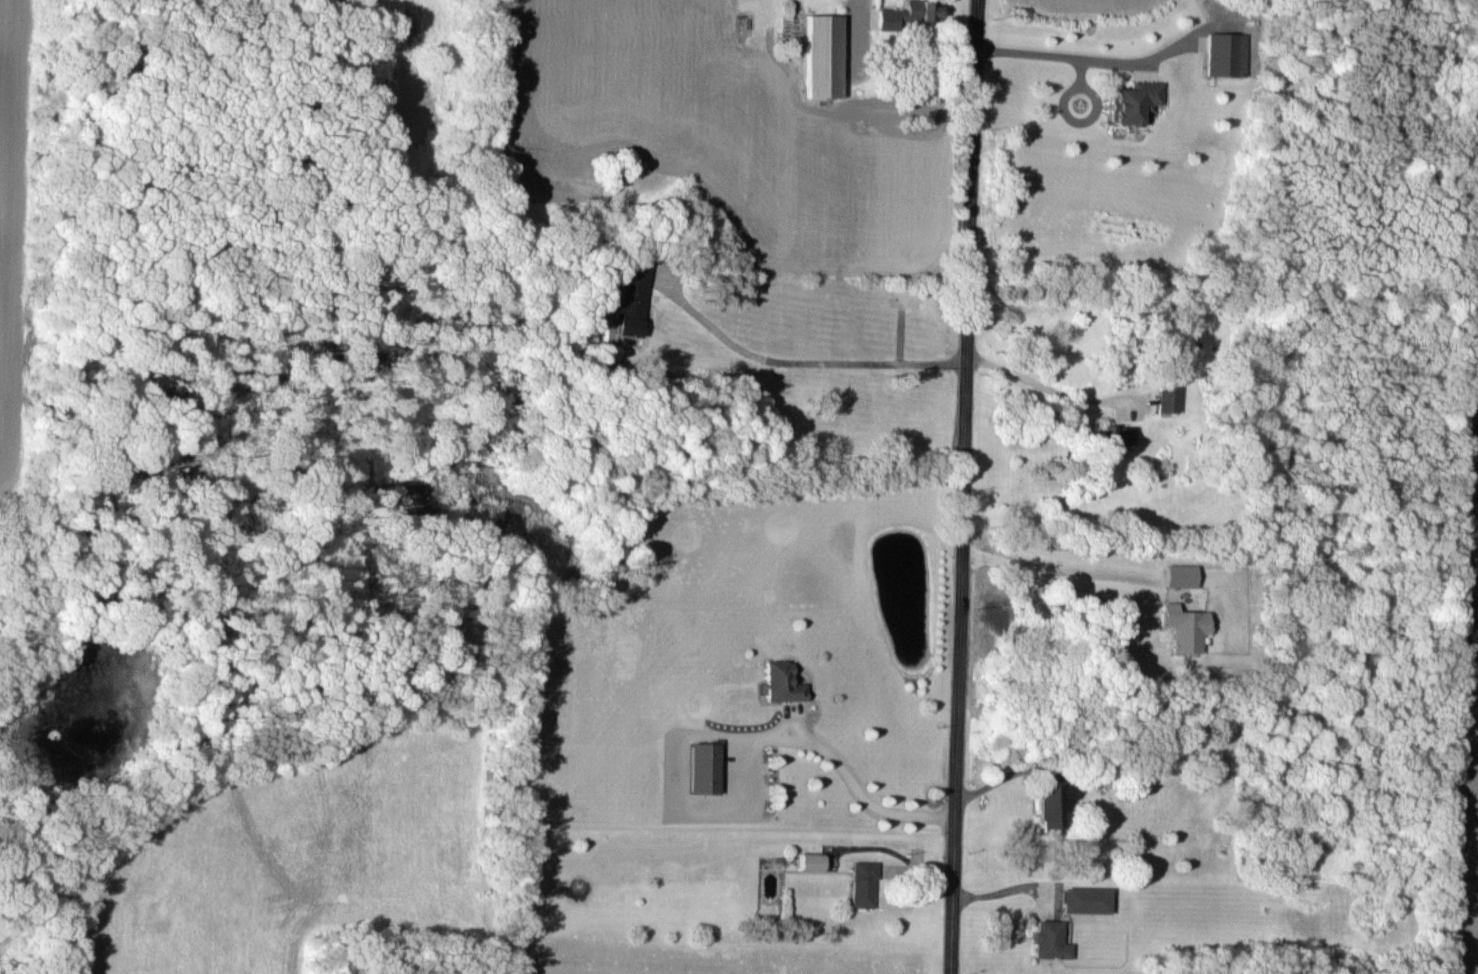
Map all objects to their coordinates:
road: (853, 5)
crop: (1090, 5)
building: (927, 9)
building: (1229, 53)
building: (828, 55)
road: (1067, 56)
building: (1139, 100)
building: (636, 293)
building: (907, 298)
road: (804, 362)
road: (1052, 389)
building: (1170, 399)
building: (1131, 436)
road: (965, 487)
road: (1049, 574)
crop: (1462, 659)
building: (788, 682)
building: (710, 767)
road: (1003, 778)
road: (855, 792)
building: (1061, 802)
crop: (290, 859)
building: (818, 861)
building: (867, 883)
road: (1002, 889)
building: (1090, 899)
building: (1055, 939)

